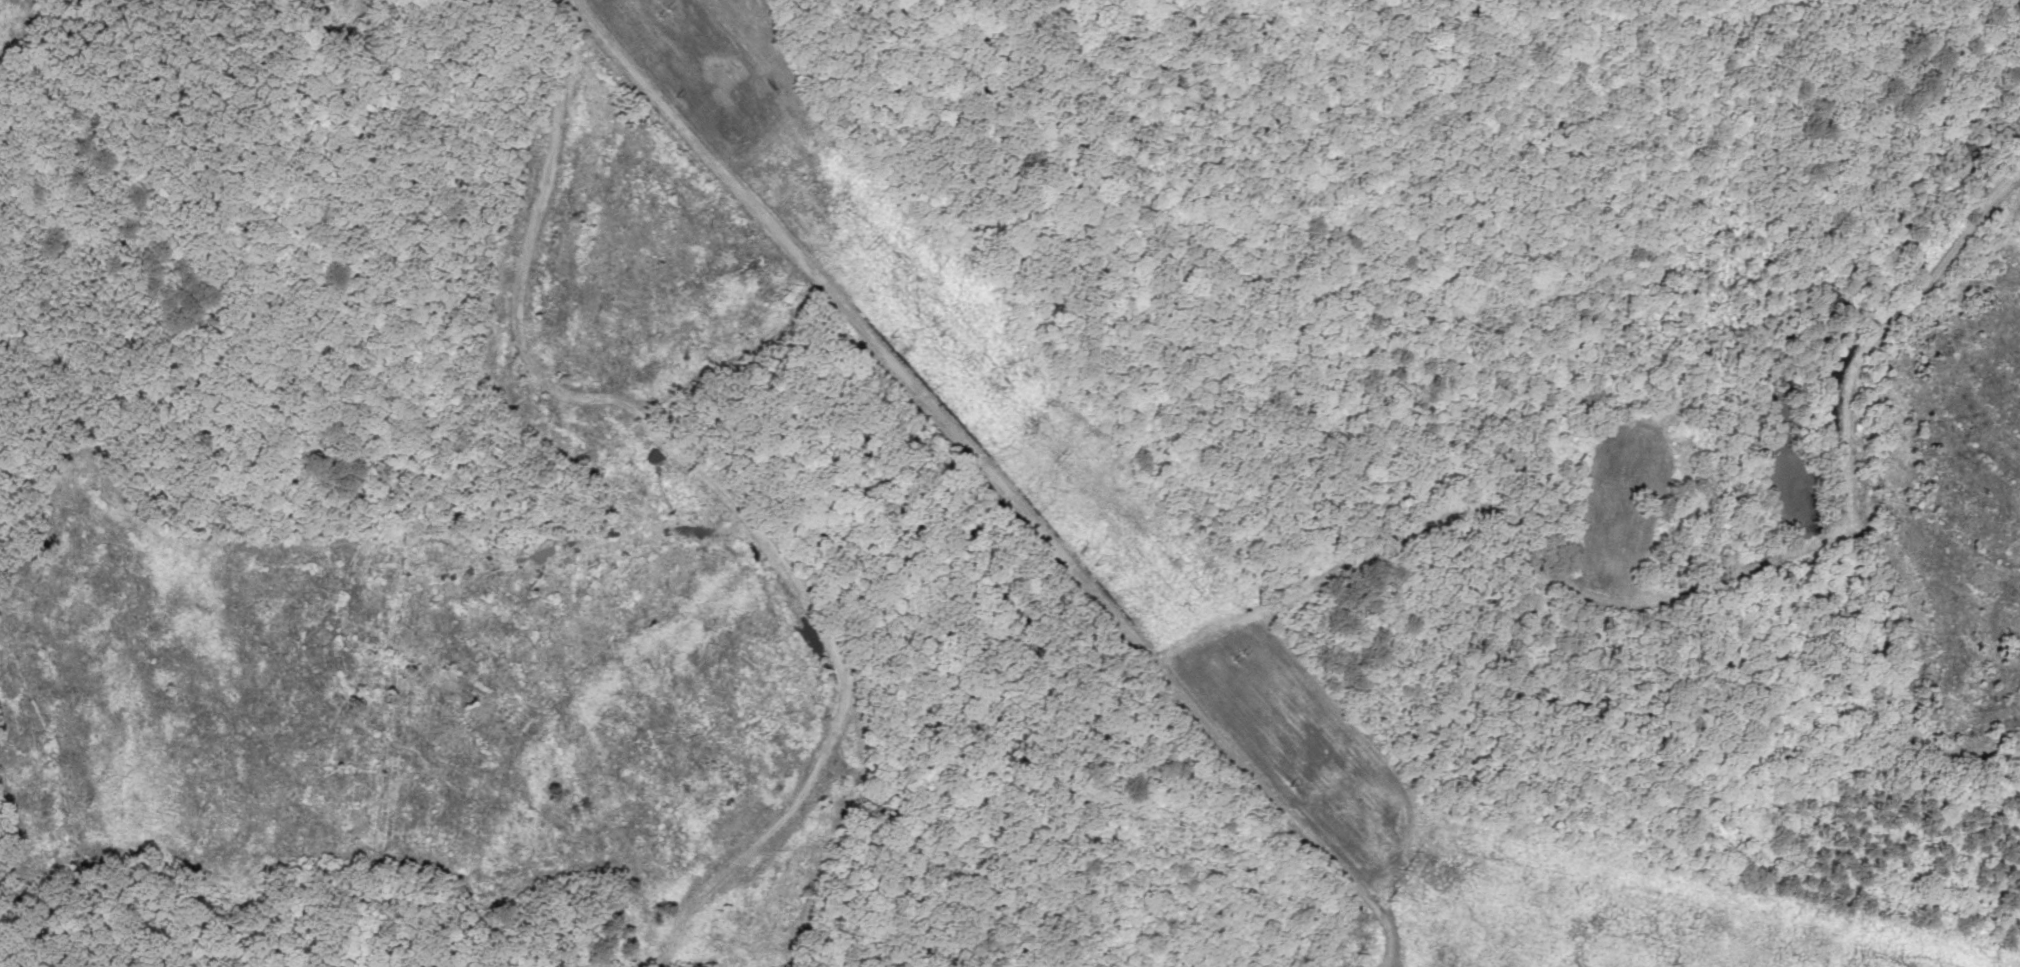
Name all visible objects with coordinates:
power tower: (1382, 894)

